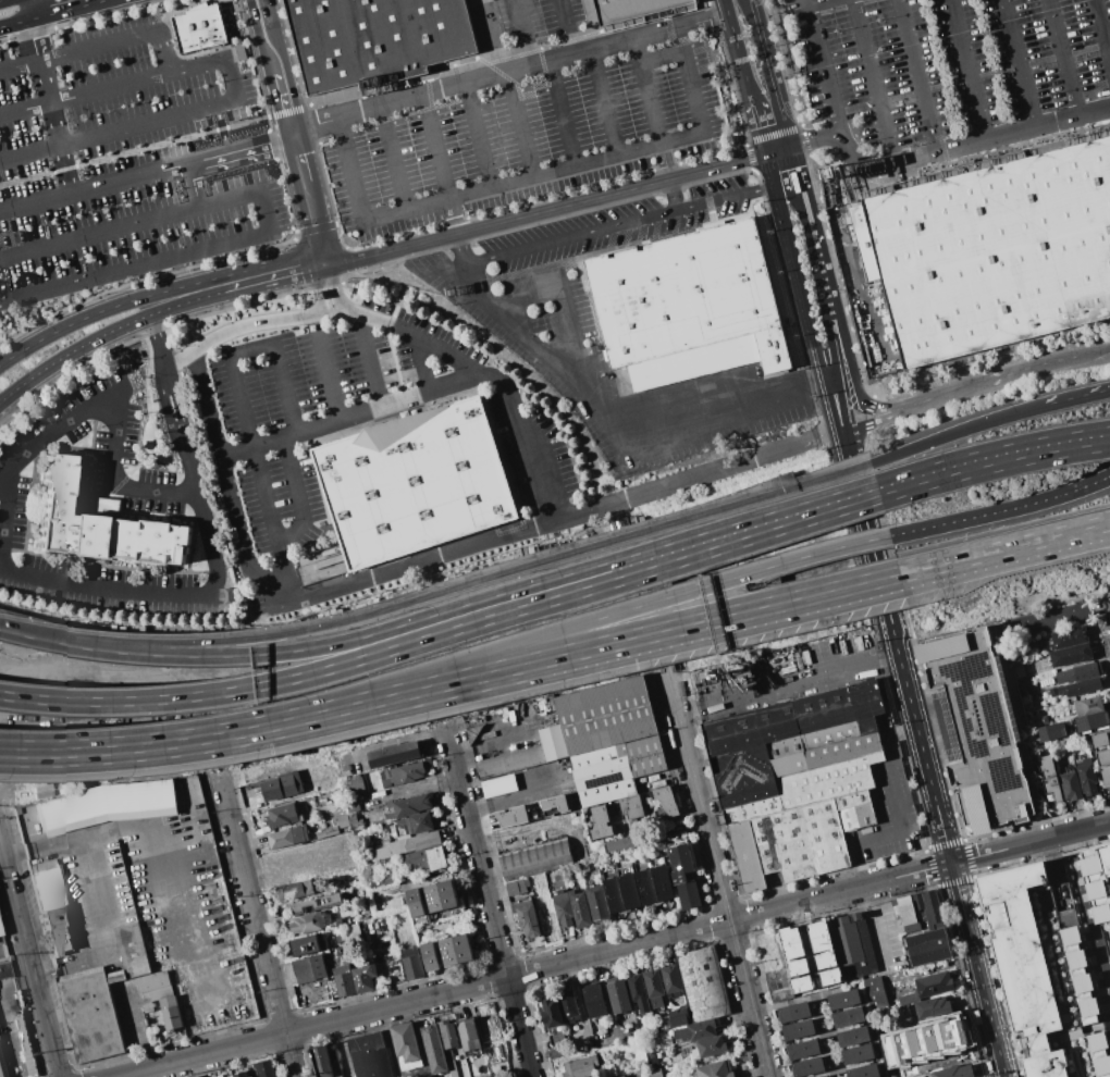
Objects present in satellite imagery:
road: (4, 1)
road: (821, 3)
building: (632, 9)
road: (28, 10)
road: (69, 11)
road: (726, 13)
road: (262, 14)
parking lot: (539, 20)
road: (13, 25)
road: (566, 27)
building: (199, 28)
road: (668, 30)
road: (1101, 32)
road: (523, 33)
building: (375, 39)
road: (32, 41)
road: (98, 47)
road: (272, 51)
road: (164, 52)
building: (237, 52)
road: (1063, 59)
road: (659, 60)
road: (739, 62)
road: (1017, 64)
road: (18, 66)
road: (824, 66)
parking lot: (946, 66)
road: (967, 71)
road: (509, 72)
road: (769, 72)
road: (917, 77)
road: (231, 81)
road: (873, 83)
road: (112, 89)
road: (692, 94)
road: (285, 101)
road: (604, 103)
road: (751, 103)
road: (650, 111)
building: (12, 114)
road: (562, 114)
road: (519, 125)
road: (53, 128)
road: (221, 131)
road: (118, 132)
road: (757, 133)
road: (478, 136)
road: (1002, 137)
road: (815, 139)
parking lot: (526, 143)
road: (435, 147)
road: (144, 148)
road: (777, 149)
road: (242, 150)
road: (299, 157)
road: (392, 158)
parking lot: (125, 160)
road: (794, 164)
road: (859, 164)
road: (350, 171)
road: (533, 177)
road: (193, 186)
road: (94, 189)
road: (674, 197)
road: (544, 211)
road: (266, 213)
road: (453, 216)
road: (807, 218)
road: (314, 221)
road: (129, 225)
road: (618, 226)
road: (461, 249)
road: (788, 251)
building: (997, 252)
road: (135, 270)
road: (270, 272)
road: (333, 286)
road: (318, 288)
road: (826, 292)
road: (185, 301)
road: (526, 301)
building: (688, 306)
road: (104, 311)
road: (332, 314)
road: (256, 325)
parking lot: (542, 334)
road: (159, 343)
road: (147, 346)
road: (573, 346)
road: (1091, 351)
road: (71, 352)
road: (831, 356)
road: (180, 361)
road: (370, 361)
road: (421, 366)
road: (819, 366)
road: (157, 370)
road: (325, 370)
road: (486, 379)
road: (995, 379)
road: (237, 387)
road: (858, 393)
road: (1064, 401)
road: (176, 403)
road: (163, 407)
parking lot: (367, 414)
road: (349, 418)
road: (880, 420)
road: (152, 431)
road: (614, 433)
road: (51, 434)
road: (947, 438)
road: (992, 462)
road: (190, 468)
road: (1105, 475)
road: (1105, 478)
road: (111, 481)
road: (225, 483)
building: (414, 483)
road: (116, 485)
parking lot: (134, 490)
road: (843, 503)
building: (102, 505)
road: (861, 505)
road: (997, 511)
road: (300, 515)
road: (5, 519)
road: (558, 519)
building: (98, 522)
road: (210, 548)
road: (1004, 550)
road: (101, 590)
road: (443, 592)
road: (602, 616)
road: (408, 622)
building: (1070, 637)
road: (410, 644)
road: (609, 647)
building: (1071, 655)
road: (856, 657)
building: (1076, 673)
building: (1082, 686)
building: (1088, 706)
building: (1091, 721)
building: (613, 722)
building: (980, 730)
building: (1052, 732)
road: (234, 733)
building: (1100, 740)
road: (386, 743)
building: (553, 743)
road: (74, 746)
building: (795, 751)
road: (75, 754)
building: (393, 756)
building: (1103, 757)
building: (510, 763)
building: (402, 775)
building: (603, 775)
building: (1106, 775)
building: (1048, 777)
building: (1087, 777)
building: (652, 780)
building: (282, 784)
building: (1071, 785)
building: (499, 787)
building: (666, 800)
building: (107, 805)
building: (414, 805)
building: (553, 805)
building: (631, 807)
road: (891, 812)
building: (282, 815)
building: (513, 816)
building: (343, 820)
building: (601, 822)
building: (355, 824)
building: (414, 826)
building: (288, 835)
building: (799, 839)
building: (411, 843)
building: (626, 843)
road: (951, 852)
building: (424, 857)
building: (534, 858)
building: (680, 861)
railway: (719, 871)
road: (719, 871)
building: (375, 878)
building: (1097, 881)
building: (663, 882)
building: (517, 886)
building: (647, 887)
building: (295, 889)
building: (48, 890)
building: (630, 891)
building: (1061, 893)
building: (615, 894)
building: (688, 894)
road: (84, 897)
building: (432, 897)
road: (491, 899)
building: (597, 903)
building: (318, 904)
building: (929, 908)
building: (563, 909)
building: (580, 909)
building: (906, 911)
building: (528, 918)
road: (207, 920)
building: (1027, 923)
building: (308, 924)
road: (259, 926)
building: (824, 927)
building: (912, 928)
road: (872, 929)
building: (58, 931)
building: (811, 937)
building: (1096, 938)
building: (306, 946)
building: (929, 946)
building: (854, 948)
building: (133, 950)
building: (455, 950)
road: (617, 950)
road: (32, 951)
building: (431, 956)
building: (412, 962)
road: (381, 965)
building: (774, 966)
building: (309, 968)
road: (929, 968)
building: (4, 970)
building: (355, 978)
building: (670, 979)
building: (703, 985)
building: (934, 985)
building: (155, 987)
building: (654, 988)
building: (639, 992)
building: (876, 993)
road: (606, 995)
building: (618, 995)
building: (844, 999)
building: (593, 1000)
building: (1056, 1003)
building: (568, 1006)
building: (932, 1007)
building: (794, 1012)
building: (171, 1013)
building: (552, 1013)
building: (91, 1017)
building: (679, 1017)
building: (850, 1017)
building: (485, 1023)
building: (800, 1029)
building: (693, 1031)
building: (448, 1035)
building: (468, 1035)
road: (615, 1035)
building: (854, 1037)
building: (557, 1038)
road: (943, 1040)
building: (1081, 1043)
building: (406, 1045)
building: (708, 1048)
building: (804, 1048)
building: (434, 1049)
building: (859, 1054)
building: (1098, 1054)
building: (369, 1055)
building: (326, 1061)
building: (652, 1061)
building: (3, 1065)
building: (499, 1065)
building: (810, 1066)
building: (581, 1067)
building: (264, 1068)
building: (715, 1069)
building: (865, 1072)
building: (954, 1072)
building: (655, 1073)
building: (239, 1075)
building: (196, 1076)
building: (251, 1076)
building: (338, 1076)
building: (622, 1076)
building: (825, 1076)

